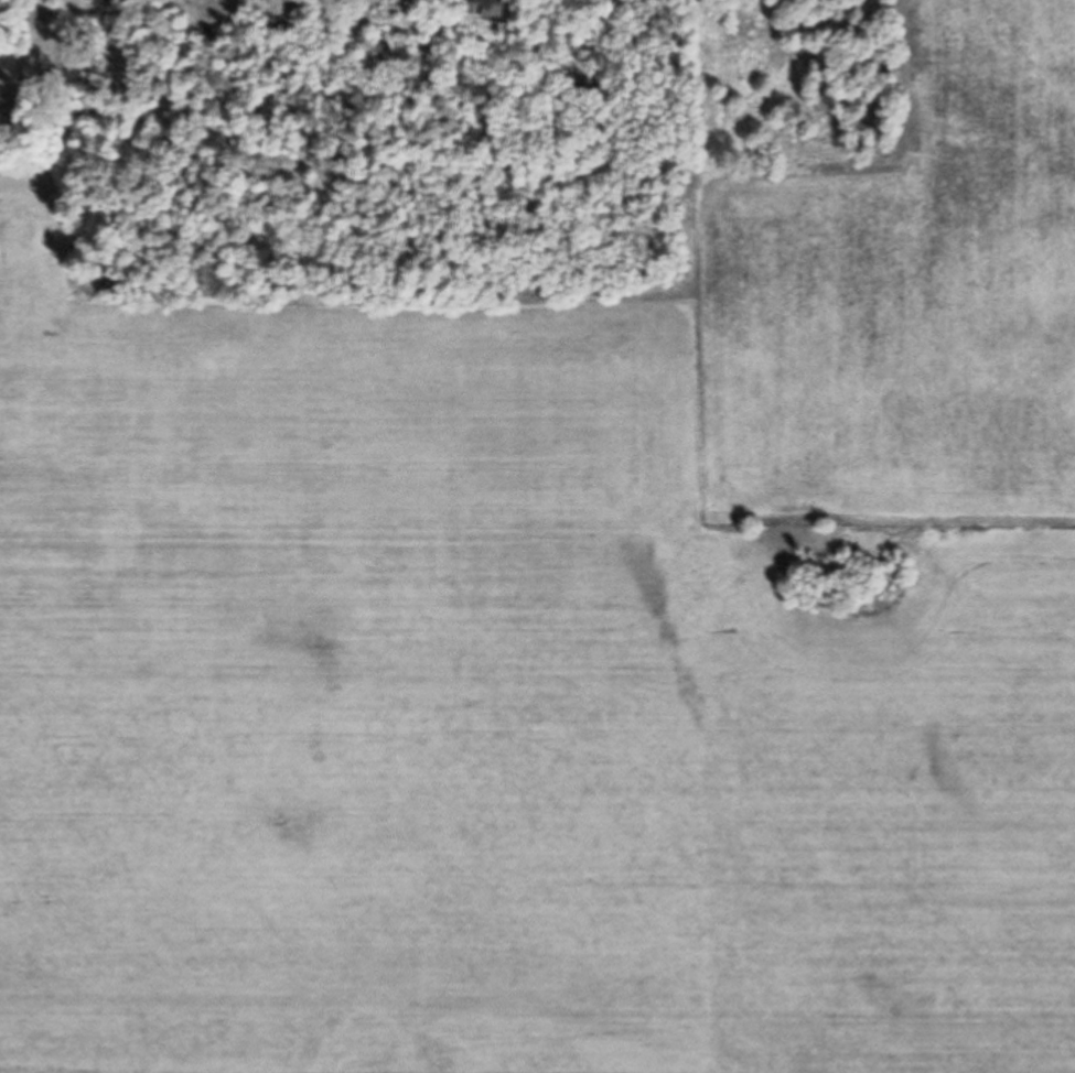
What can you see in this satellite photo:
building: (499, 10)
road: (24, 21)

